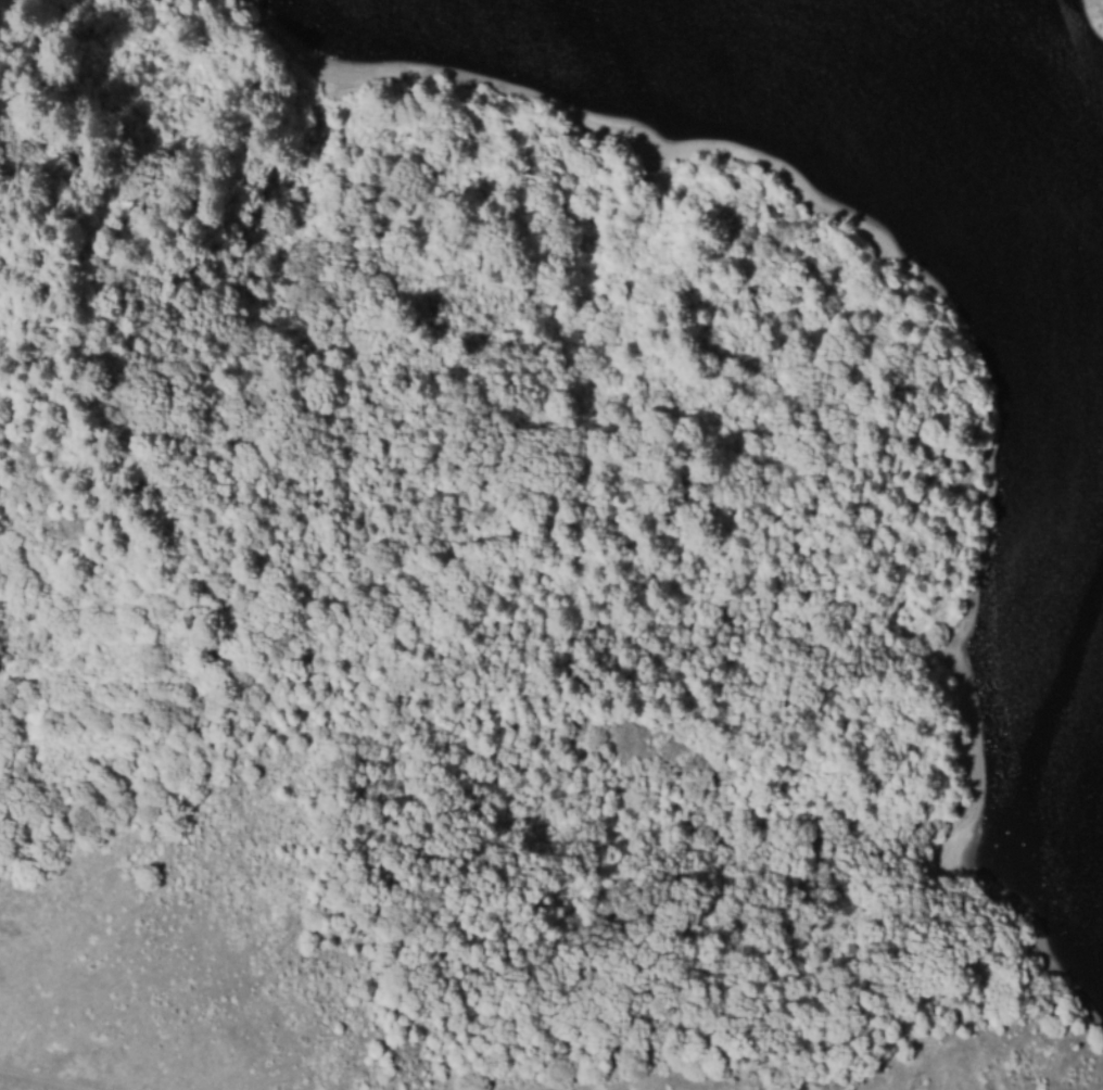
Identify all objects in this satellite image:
road: (30, 1083)

